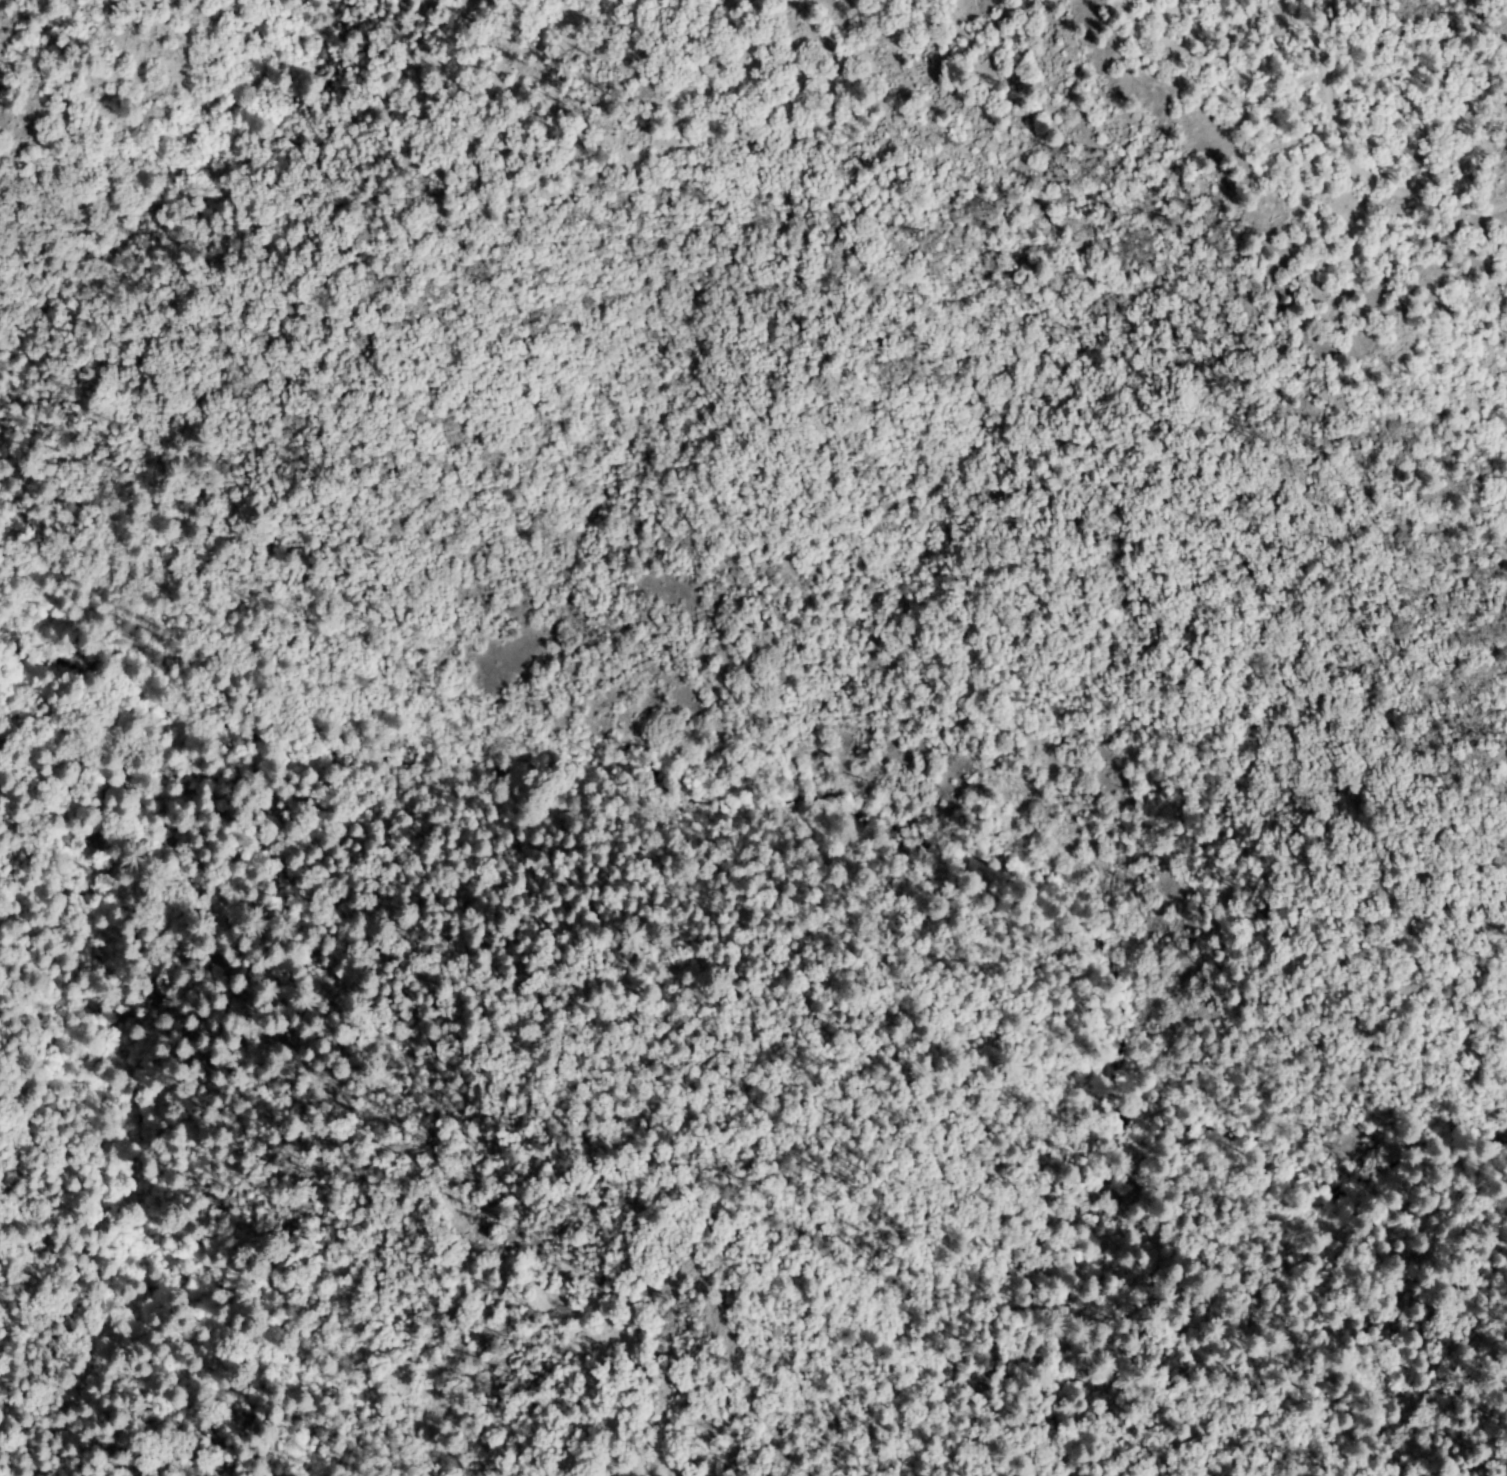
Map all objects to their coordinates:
road: (1343, 163)

